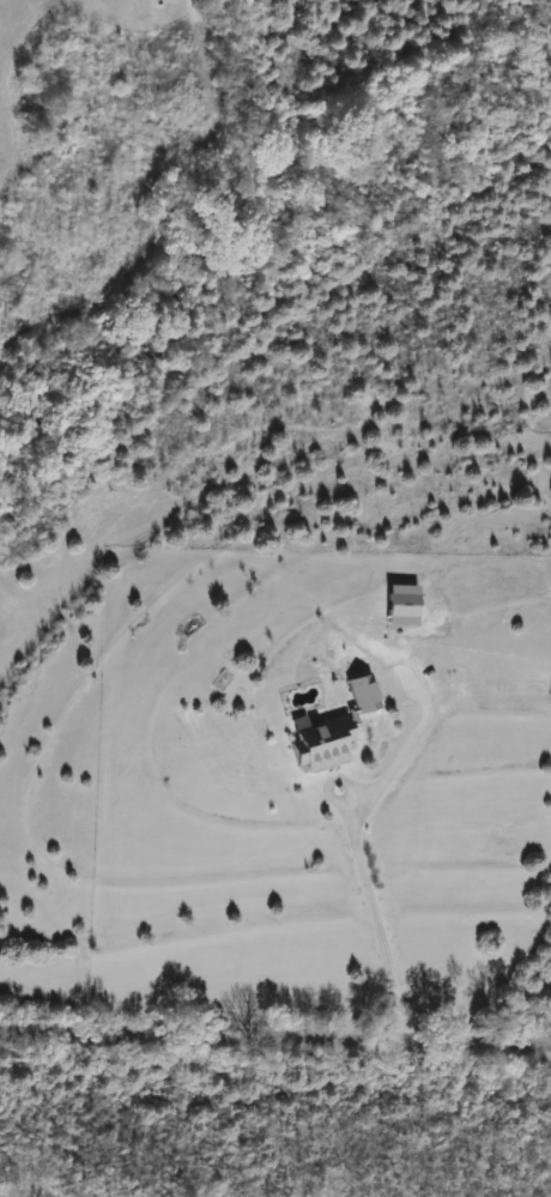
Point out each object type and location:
building: (331, 730)
road: (371, 913)
road: (275, 1036)

